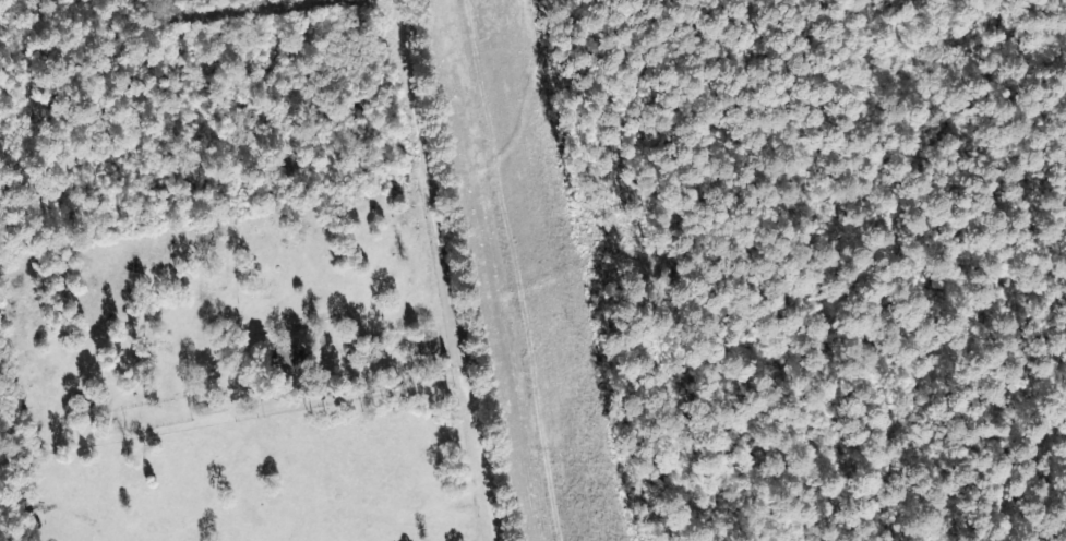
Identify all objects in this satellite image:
road: (448, 294)
building: (287, 357)

